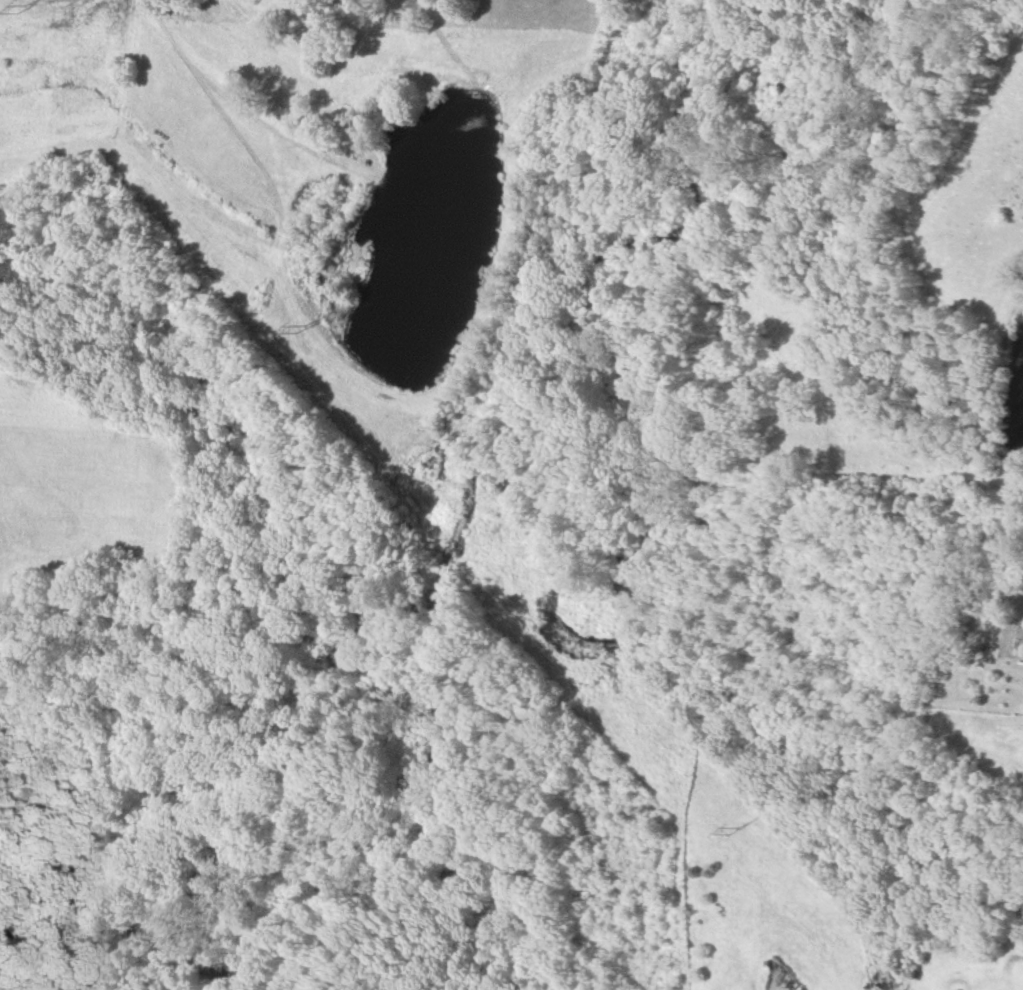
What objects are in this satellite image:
power tower: (23, 12)
crop: (63, 85)
power tower: (302, 332)
crop: (38, 400)
crop: (89, 492)
crop: (986, 740)
power tower: (744, 837)
crop: (974, 977)

